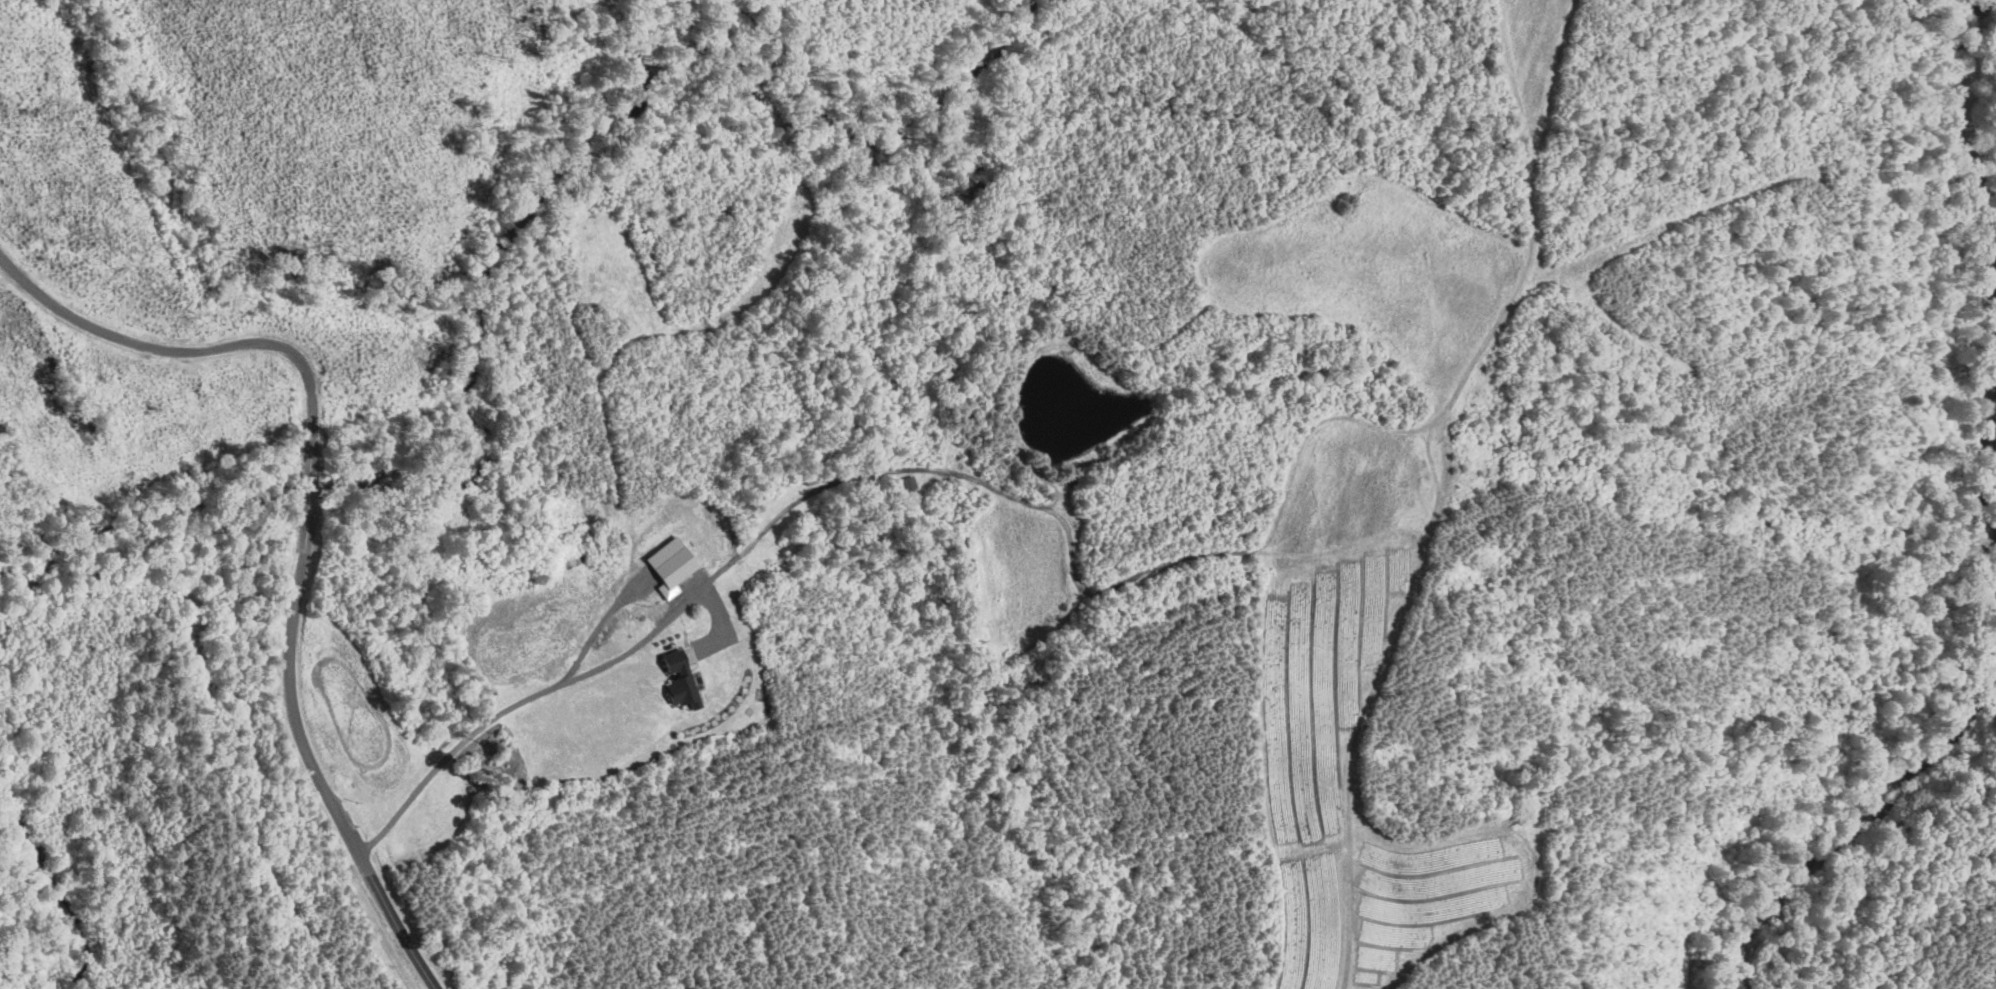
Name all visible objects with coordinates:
road: (177, 351)
road: (309, 480)
building: (677, 678)
road: (535, 693)
road: (315, 770)

